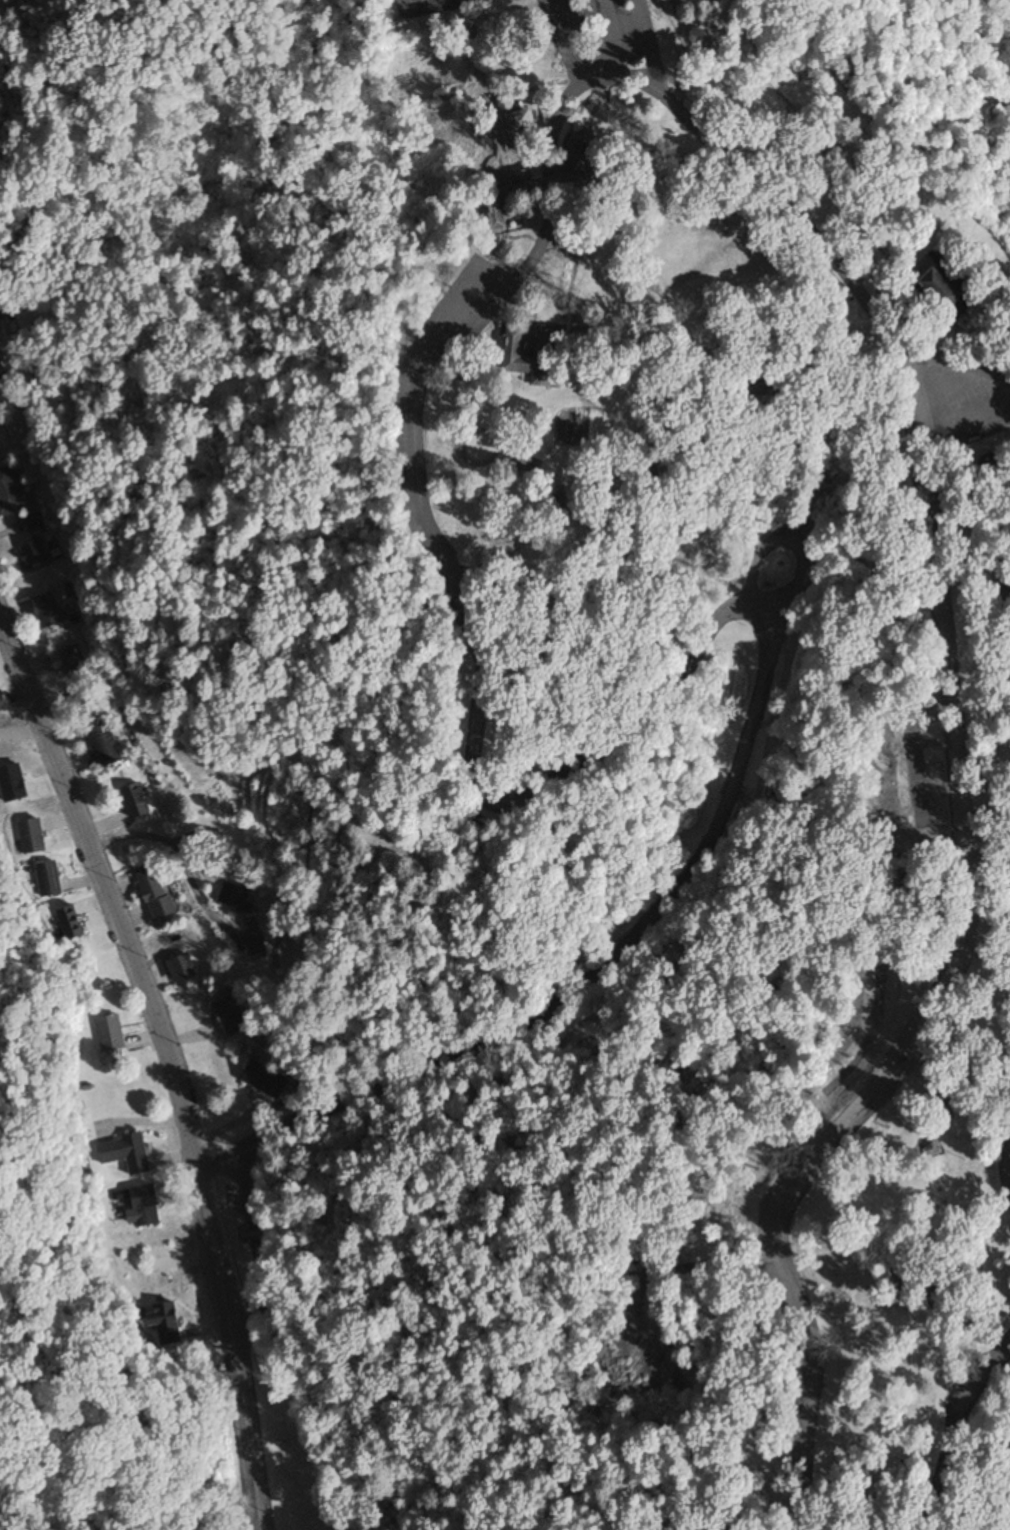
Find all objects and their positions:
park: (485, 2)
park: (454, 4)
park: (417, 7)
parking lot: (600, 31)
road: (600, 35)
road: (650, 45)
building: (515, 122)
road: (819, 143)
building: (575, 153)
road: (765, 193)
road: (795, 201)
building: (495, 216)
building: (955, 286)
road: (844, 293)
road: (998, 310)
parking lot: (455, 316)
road: (712, 352)
building: (538, 355)
road: (956, 378)
building: (5, 391)
building: (762, 394)
parking lot: (954, 401)
road: (966, 428)
building: (9, 494)
building: (33, 522)
road: (797, 549)
building: (34, 555)
building: (71, 660)
building: (87, 699)
road: (625, 735)
road: (22, 736)
building: (103, 744)
park: (649, 772)
building: (136, 802)
building: (34, 837)
building: (50, 881)
building: (1003, 891)
building: (156, 894)
building: (236, 899)
road: (969, 912)
building: (72, 924)
building: (258, 949)
building: (183, 968)
building: (230, 1016)
building: (111, 1034)
road: (170, 1065)
road: (520, 1072)
building: (265, 1080)
building: (305, 1087)
building: (128, 1153)
road: (223, 1154)
road: (226, 1168)
building: (147, 1207)
building: (250, 1236)
road: (229, 1244)
road: (254, 1249)
building: (167, 1324)
road: (959, 1455)

